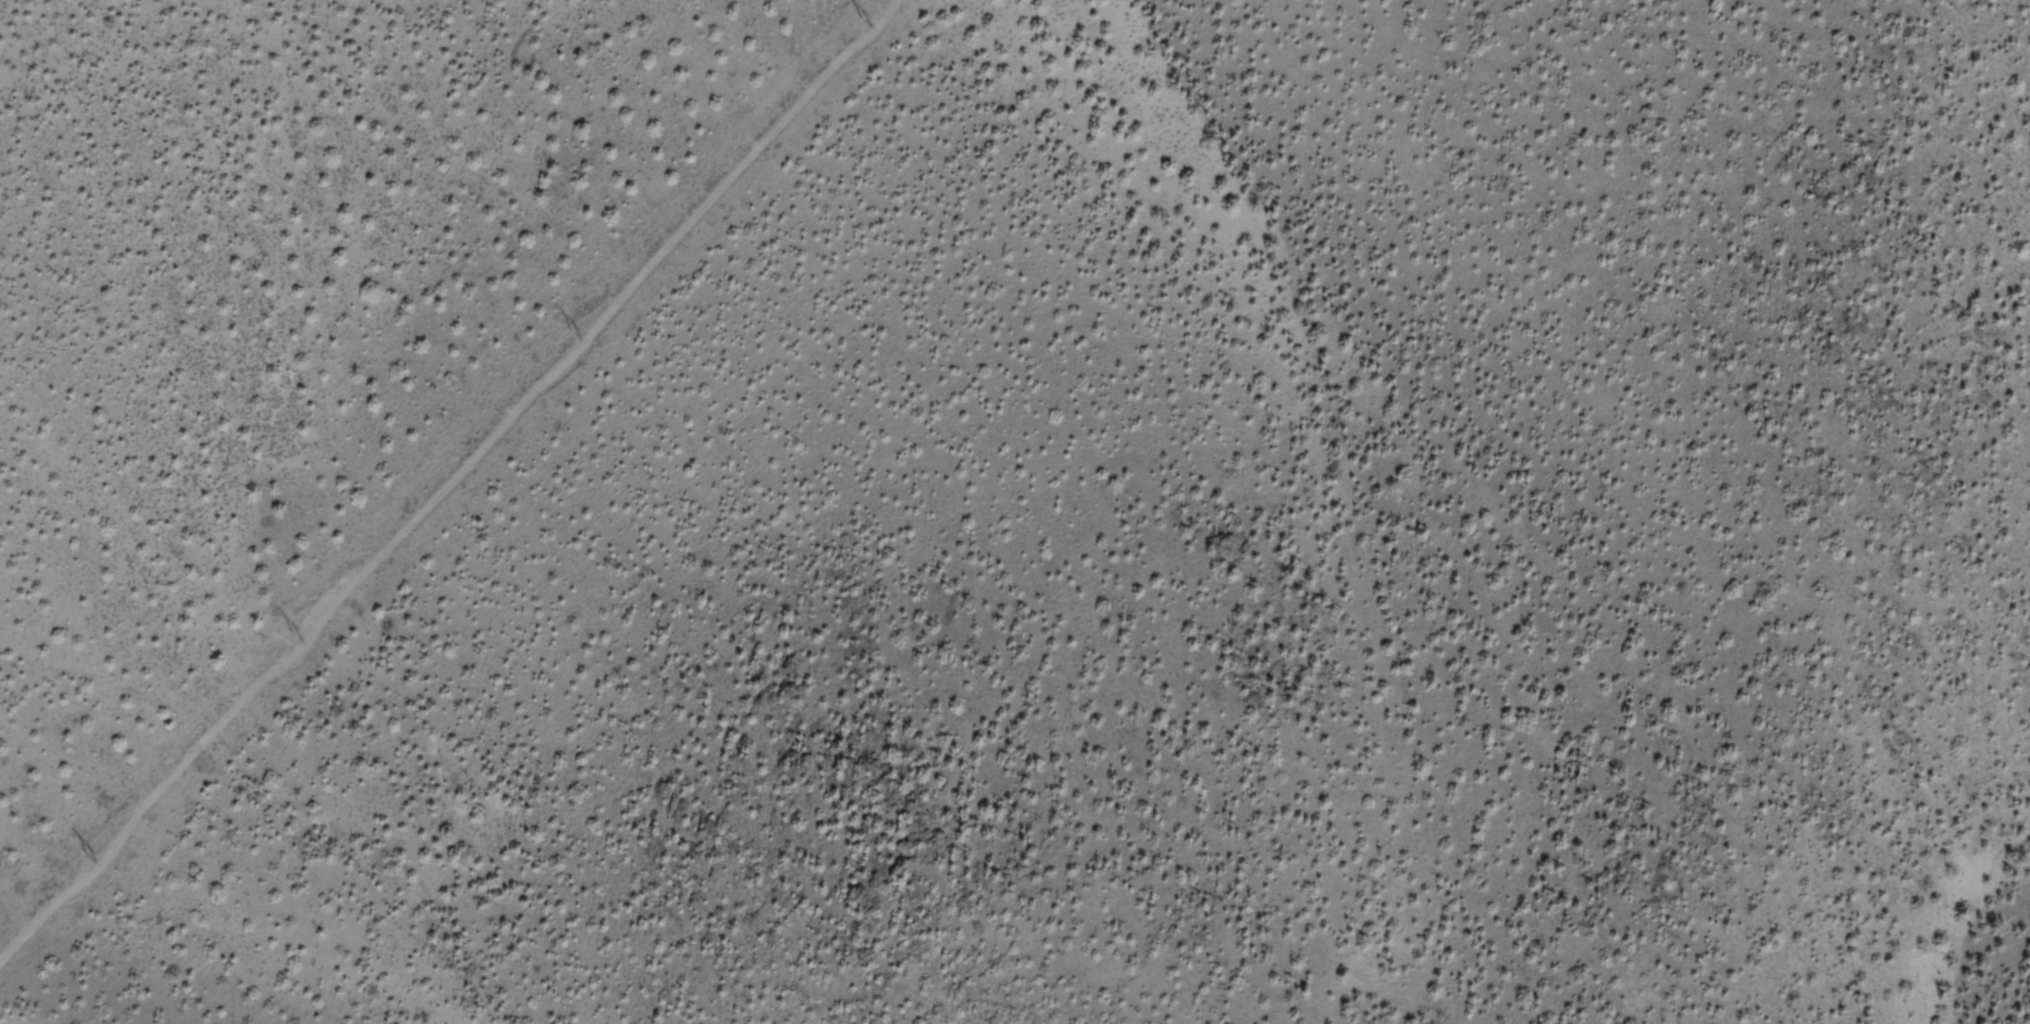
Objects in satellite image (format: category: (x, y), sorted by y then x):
power tower: (867, 24)
power tower: (577, 337)
road: (309, 591)
power tower: (293, 636)
power tower: (90, 858)

